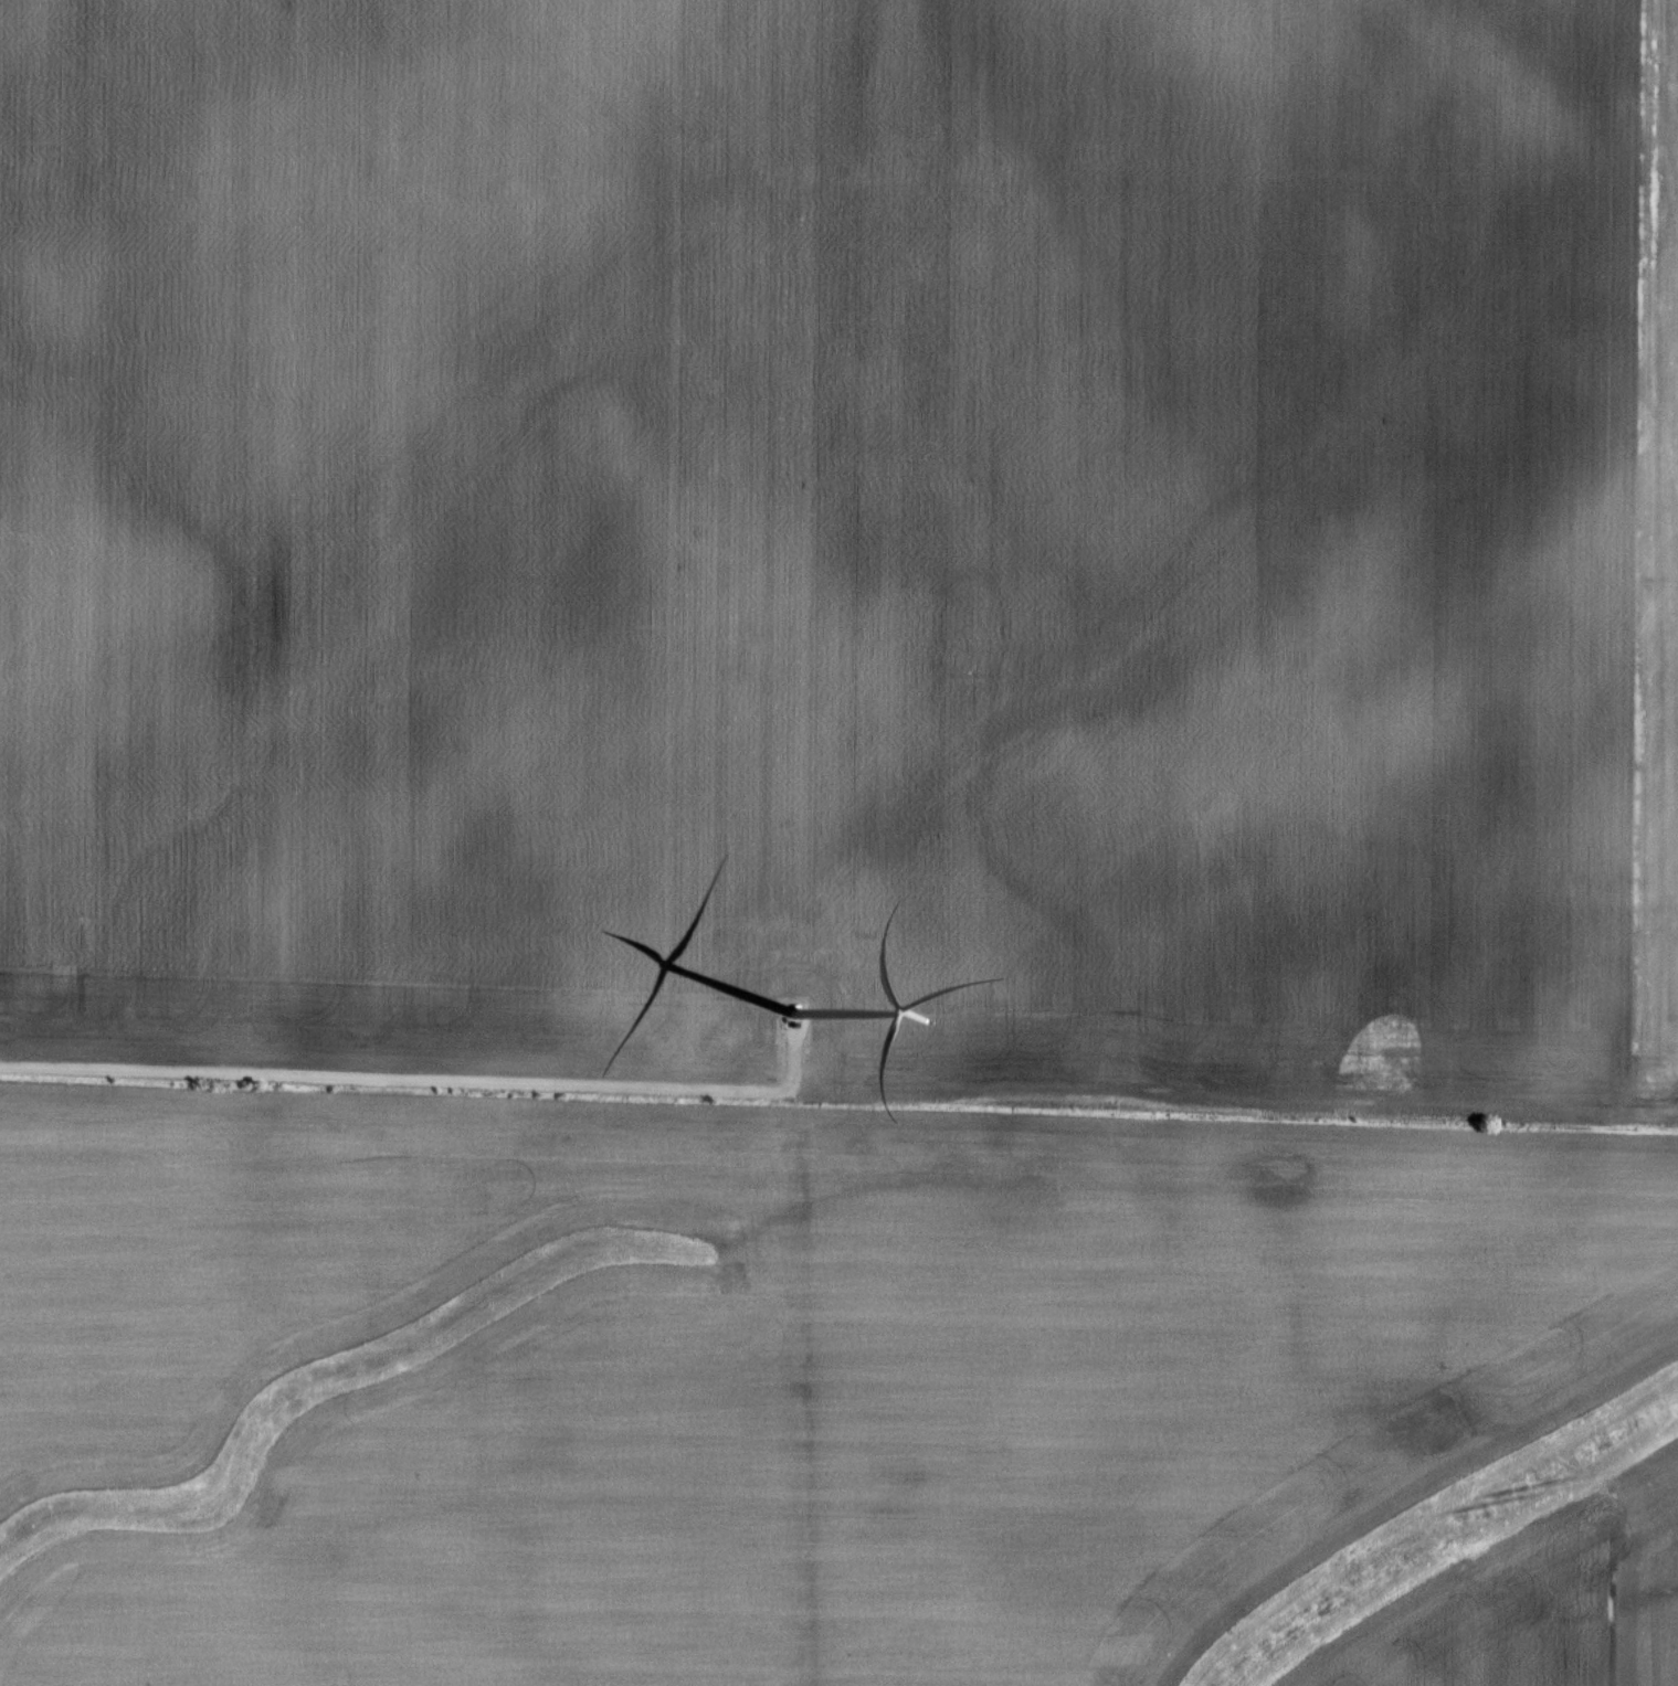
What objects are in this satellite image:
wind turbine: (793, 1024)
road: (420, 1081)

